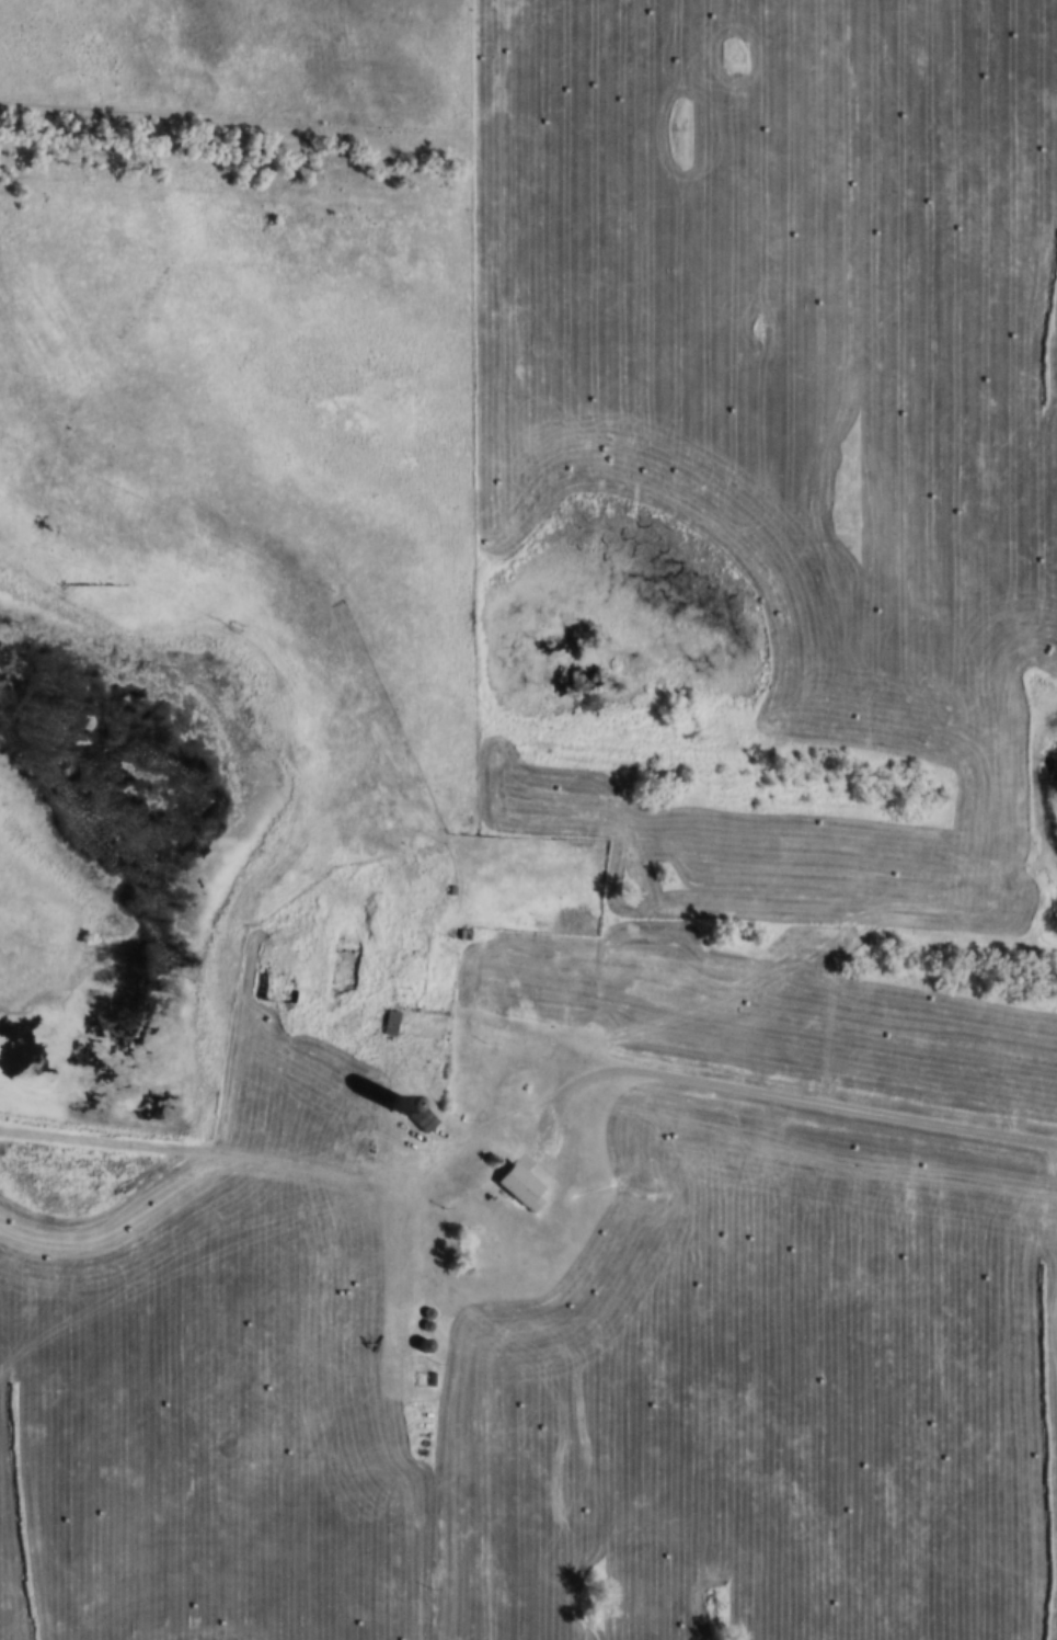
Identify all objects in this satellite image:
building: (972, 175)
road: (923, 932)
building: (279, 970)
building: (407, 982)
building: (390, 1024)
building: (519, 1188)
building: (1053, 1285)
building: (539, 1477)
building: (964, 1478)

